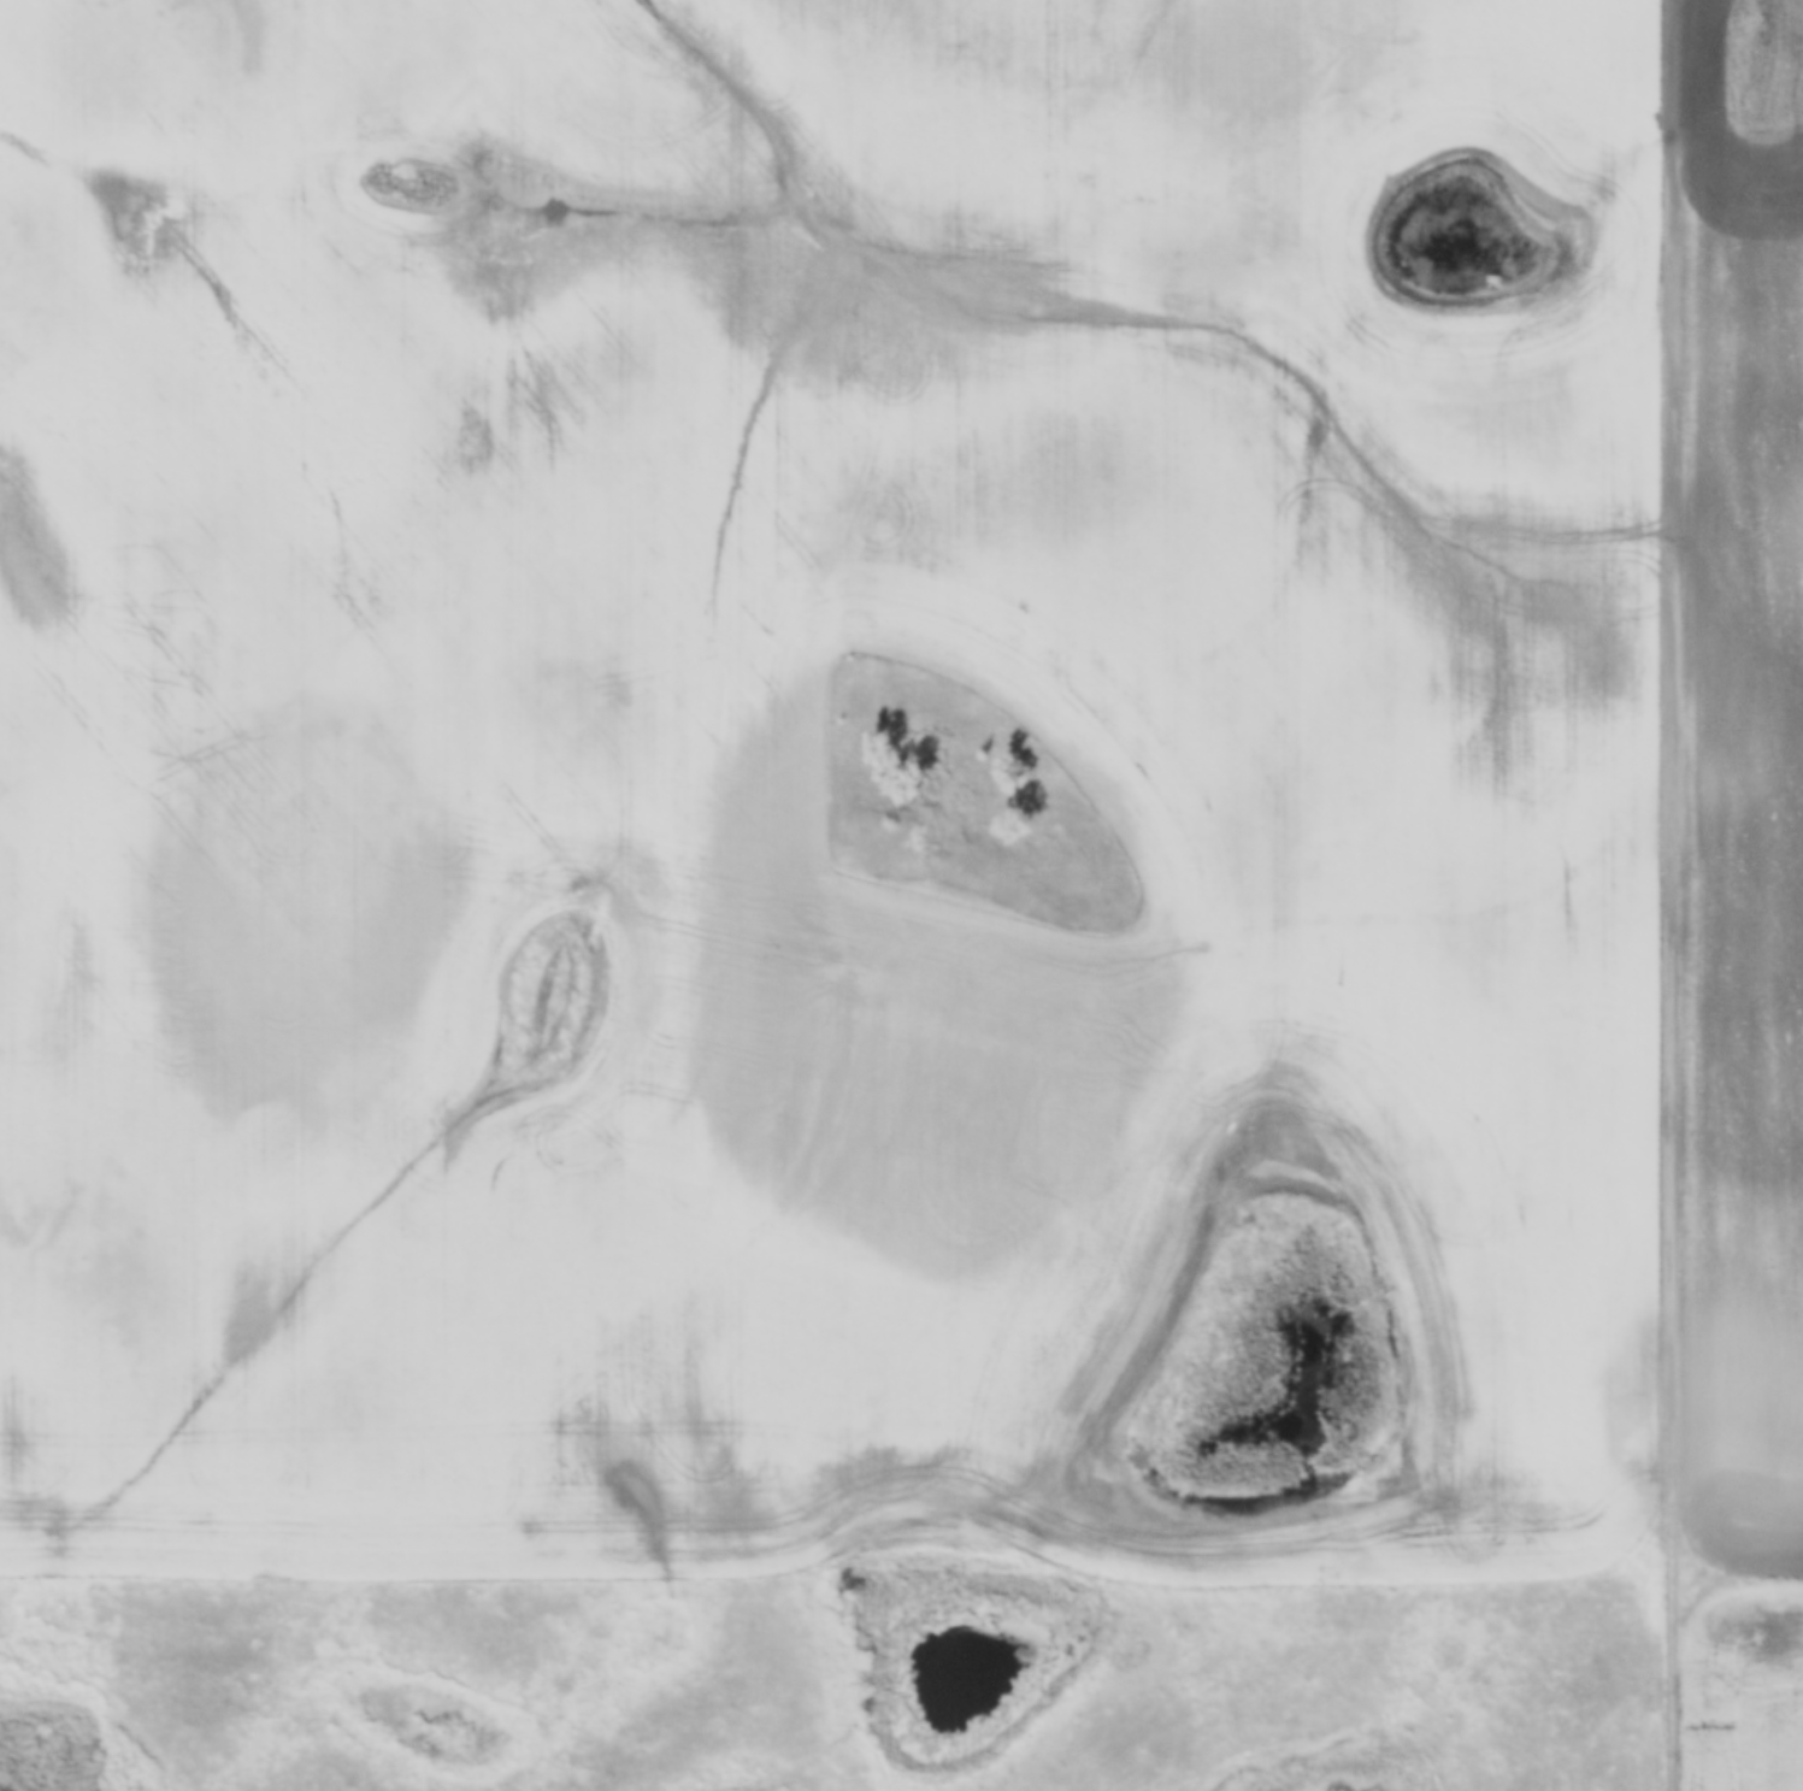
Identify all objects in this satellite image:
road: (1669, 895)

